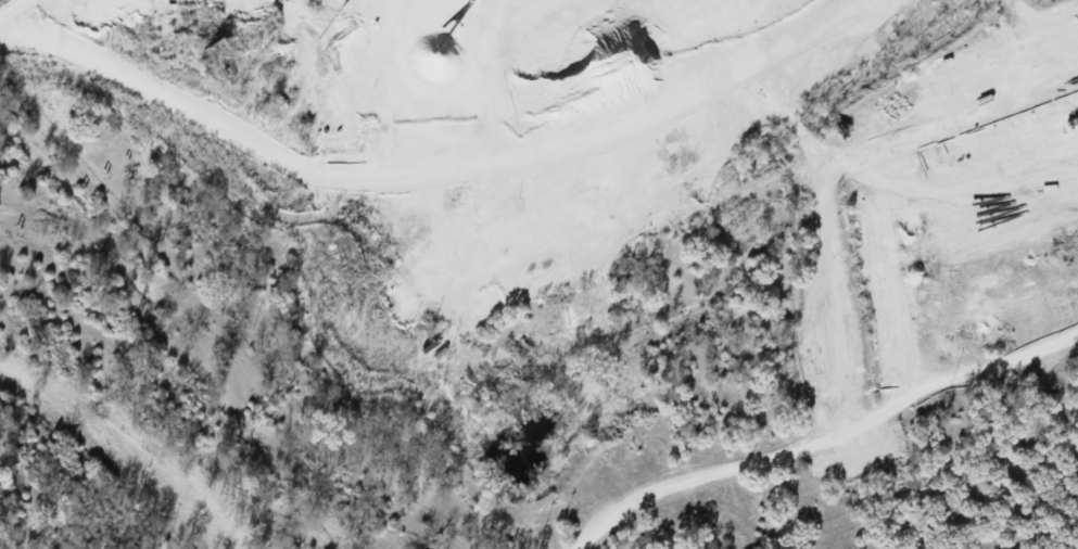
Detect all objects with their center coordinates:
road: (440, 164)

